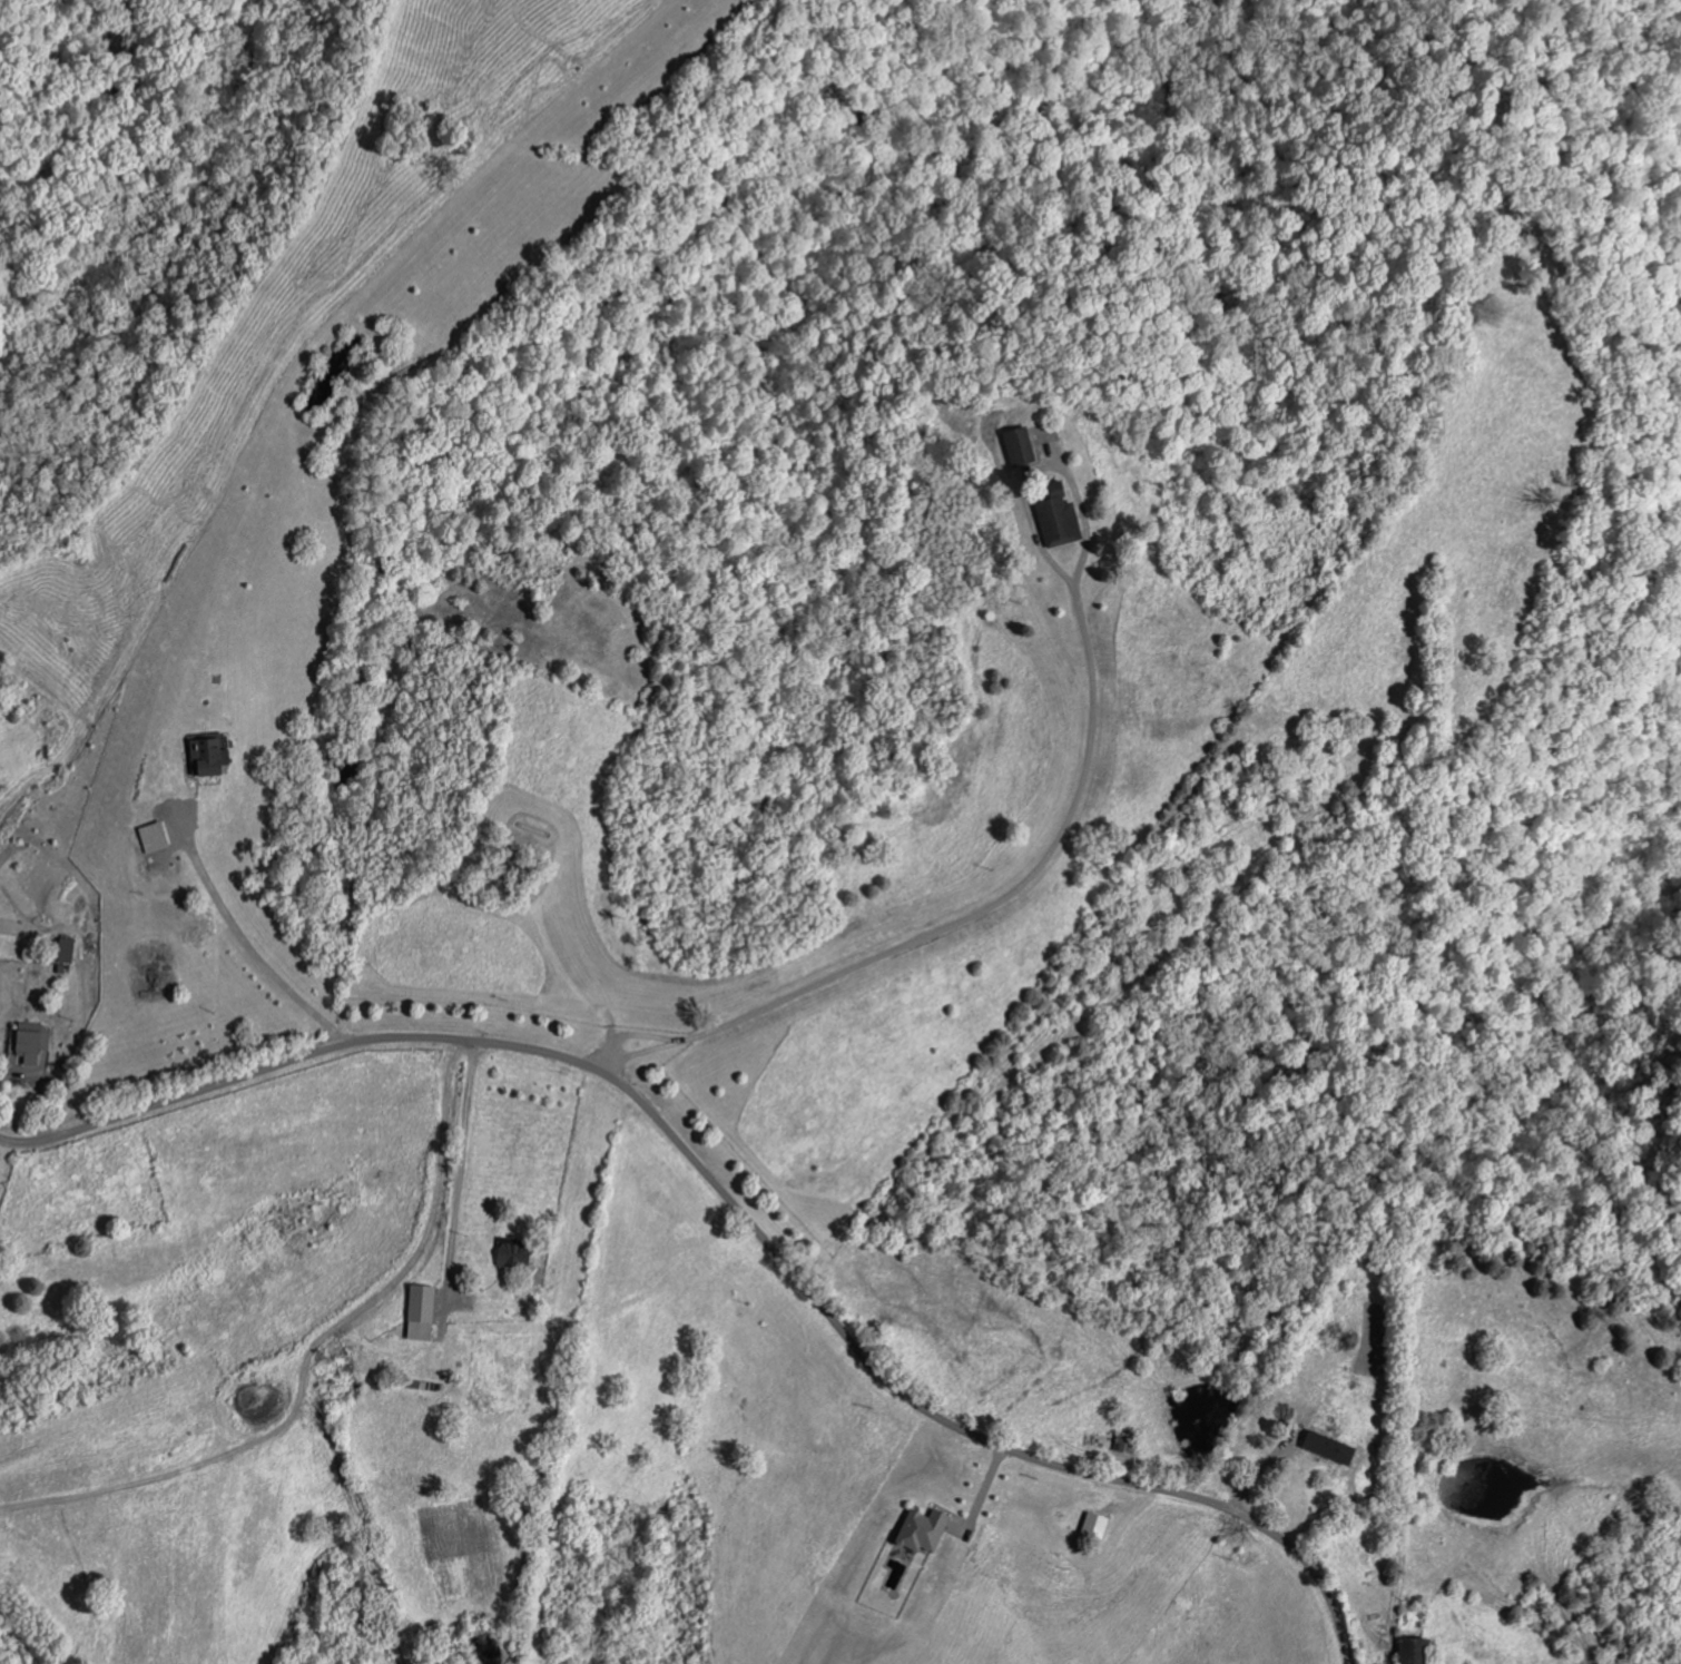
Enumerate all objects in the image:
building: (1016, 449)
building: (1053, 518)
building: (205, 755)
road: (951, 926)
road: (243, 939)
building: (62, 951)
building: (30, 1046)
road: (458, 1188)
road: (731, 1207)
building: (512, 1256)
building: (419, 1313)
building: (342, 1378)
building: (1325, 1448)
building: (1092, 1526)
building: (920, 1532)
building: (1410, 1652)

